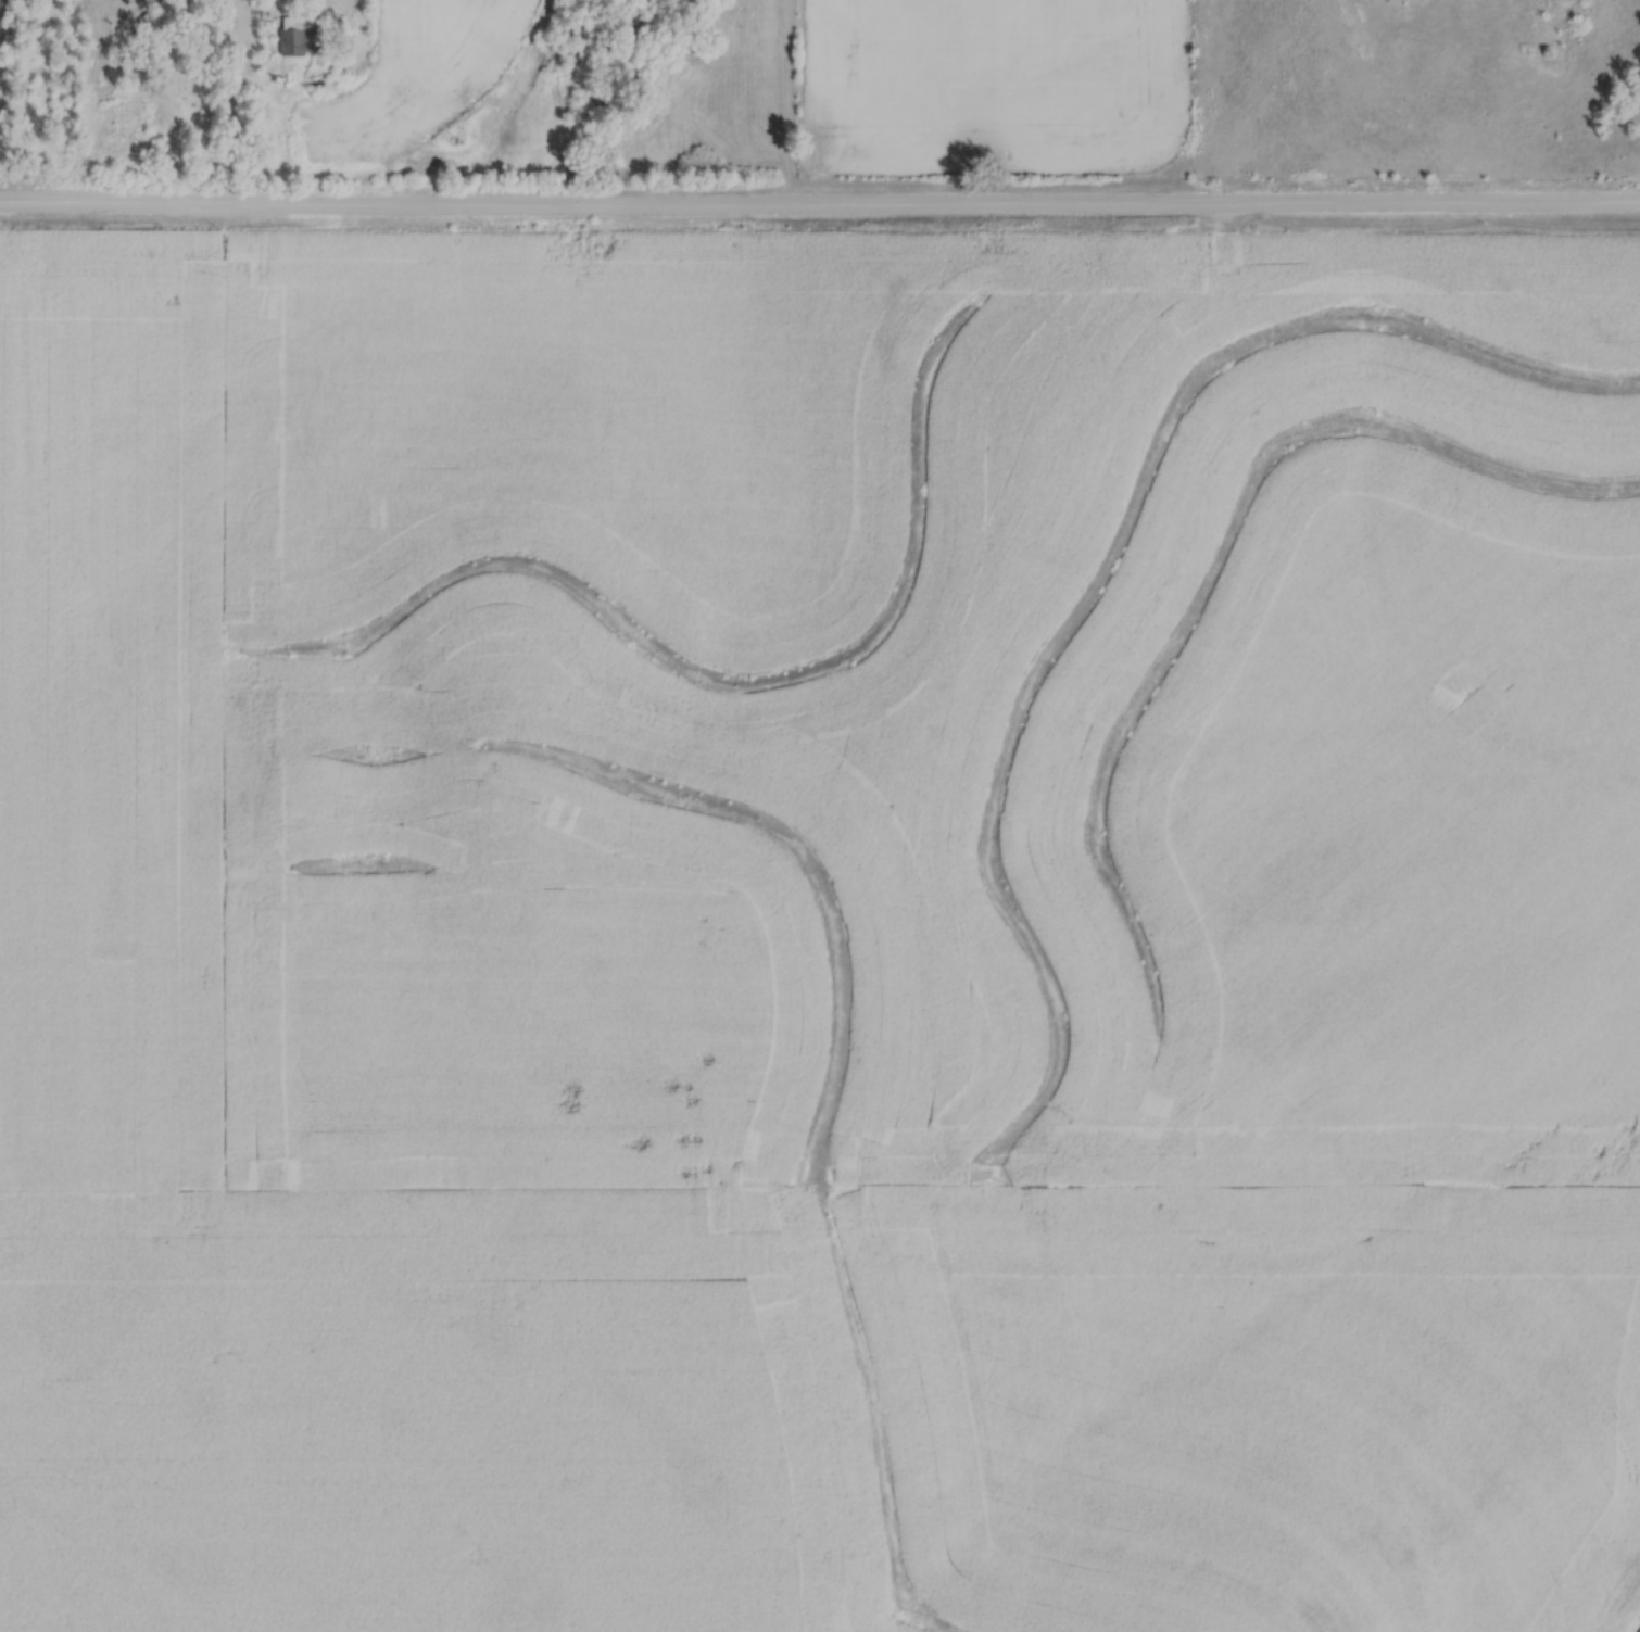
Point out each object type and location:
building: (291, 41)
road: (819, 210)

